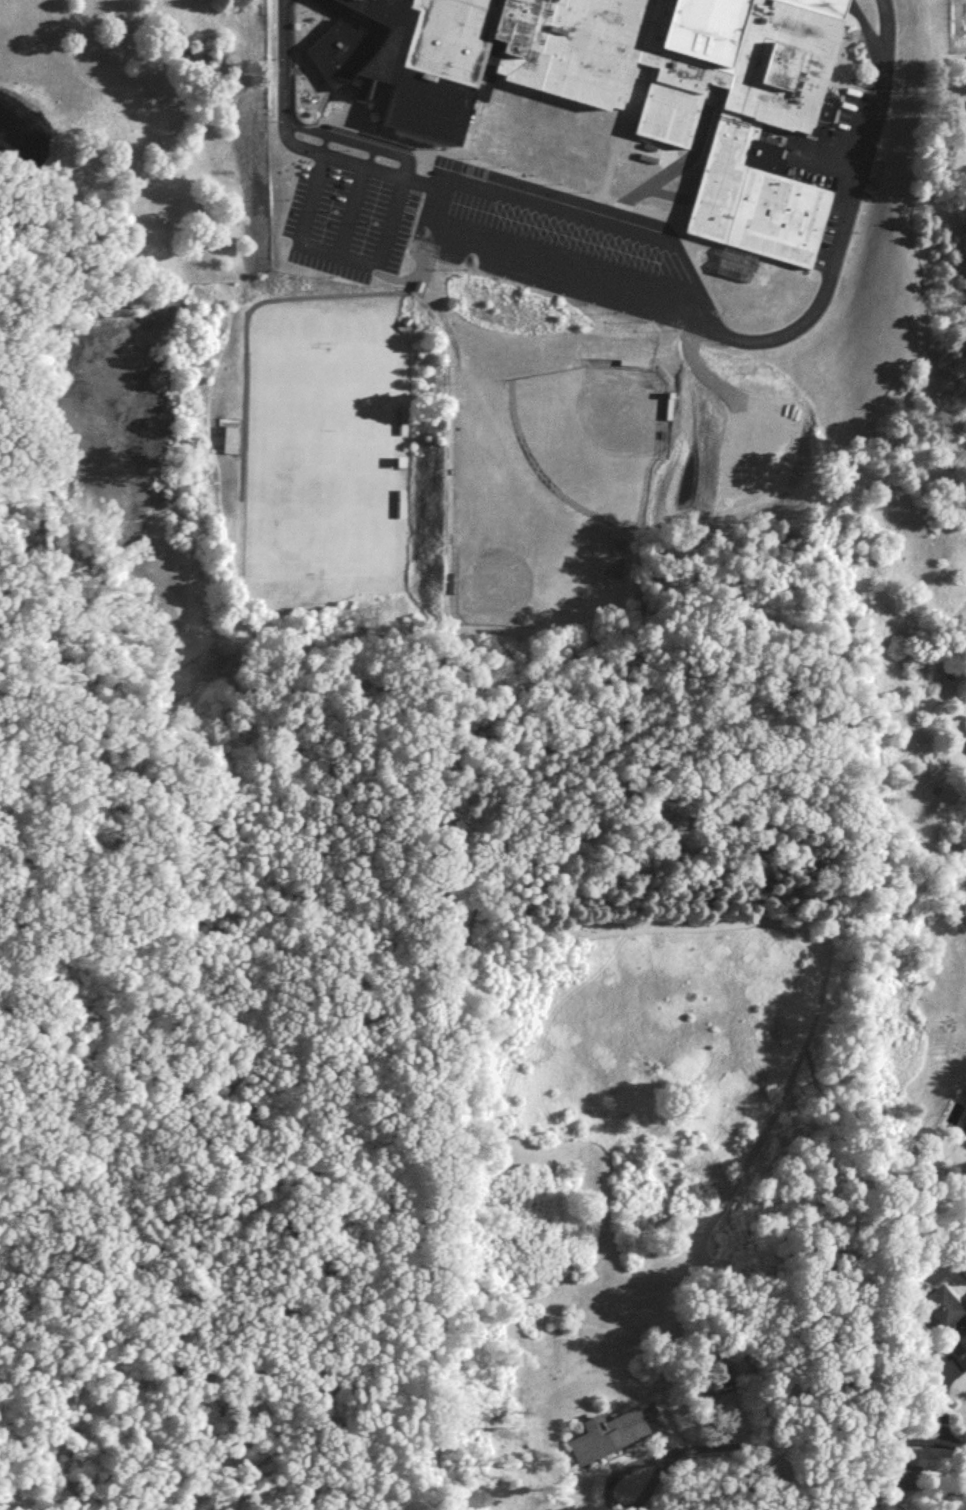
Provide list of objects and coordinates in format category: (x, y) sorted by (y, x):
building: (618, 86)
road: (467, 129)
road: (355, 140)
road: (639, 140)
road: (292, 143)
road: (616, 144)
road: (648, 148)
road: (669, 152)
road: (678, 163)
road: (421, 166)
parking lot: (825, 168)
road: (573, 191)
road: (346, 209)
parking lot: (342, 223)
road: (699, 243)
parking lot: (560, 244)
road: (334, 252)
road: (551, 263)
road: (392, 276)
road: (269, 297)
road: (756, 339)
building: (632, 358)
building: (668, 400)
park: (617, 409)
building: (404, 415)
building: (231, 440)
park: (323, 456)
park: (526, 492)
building: (401, 500)
building: (948, 1321)
building: (604, 1441)
road: (914, 1442)
road: (736, 1446)

